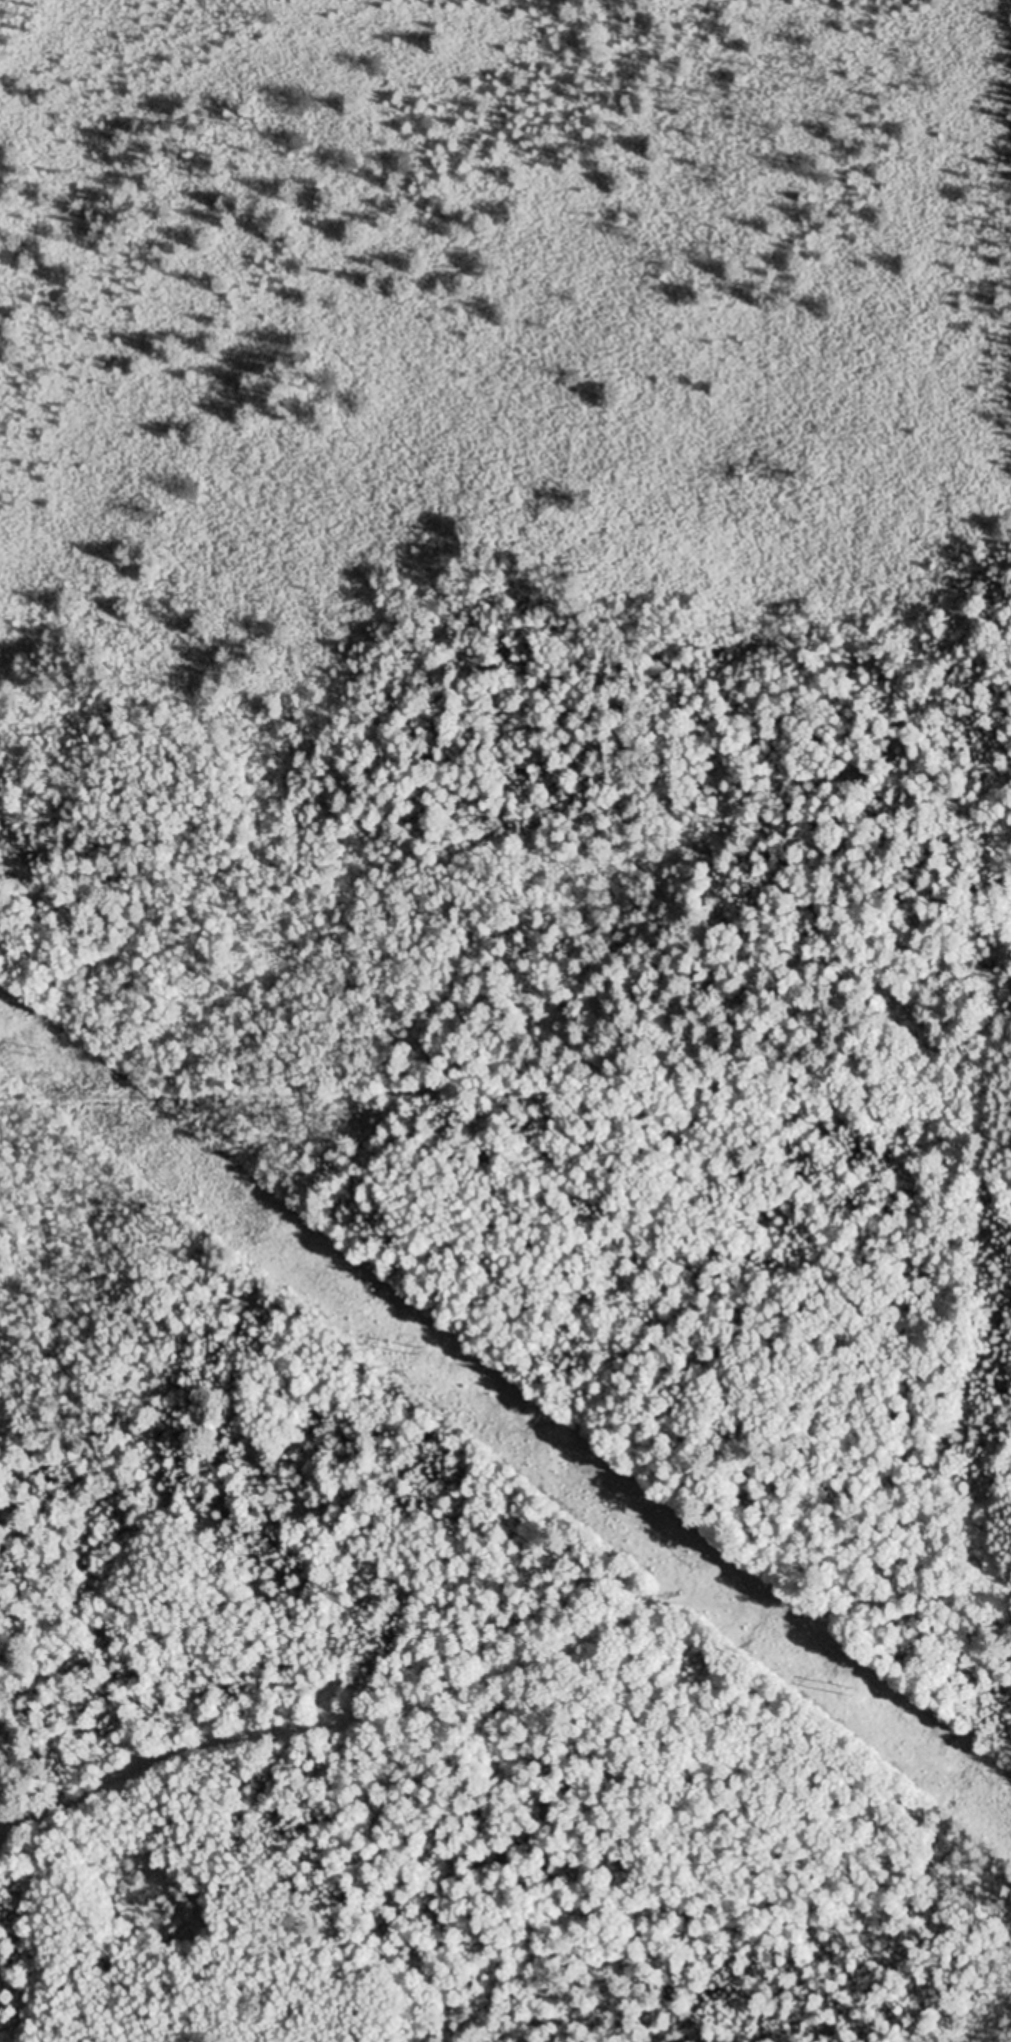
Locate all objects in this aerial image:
power tower: (43, 1054)
power tower: (423, 1350)
power tower: (856, 1692)

